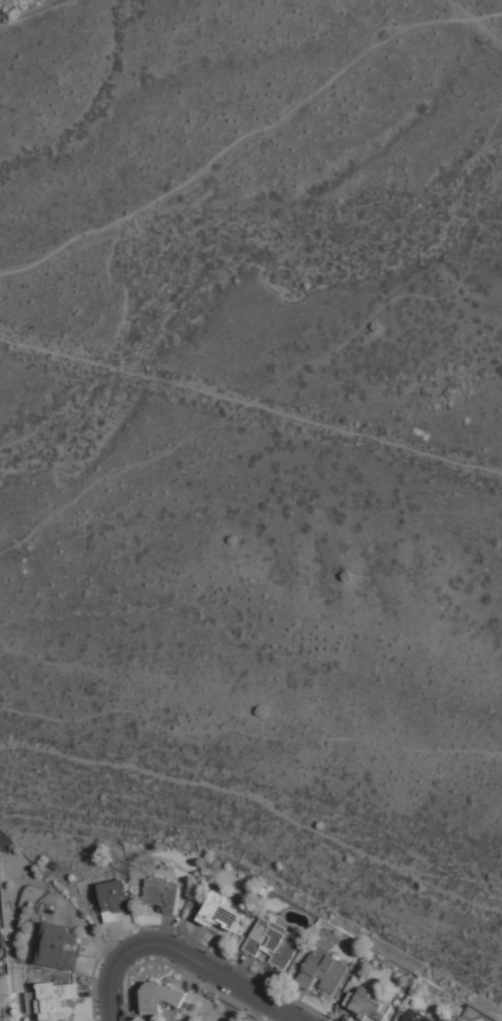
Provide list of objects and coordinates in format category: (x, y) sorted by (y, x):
road: (252, 135)
road: (251, 402)
park: (254, 648)
road: (249, 730)
building: (162, 896)
building: (114, 899)
building: (223, 915)
road: (149, 945)
building: (279, 947)
building: (58, 949)
building: (323, 971)
road: (114, 973)
road: (233, 984)
building: (161, 998)
building: (52, 1002)
building: (369, 1007)
road: (113, 1011)
building: (414, 1016)

